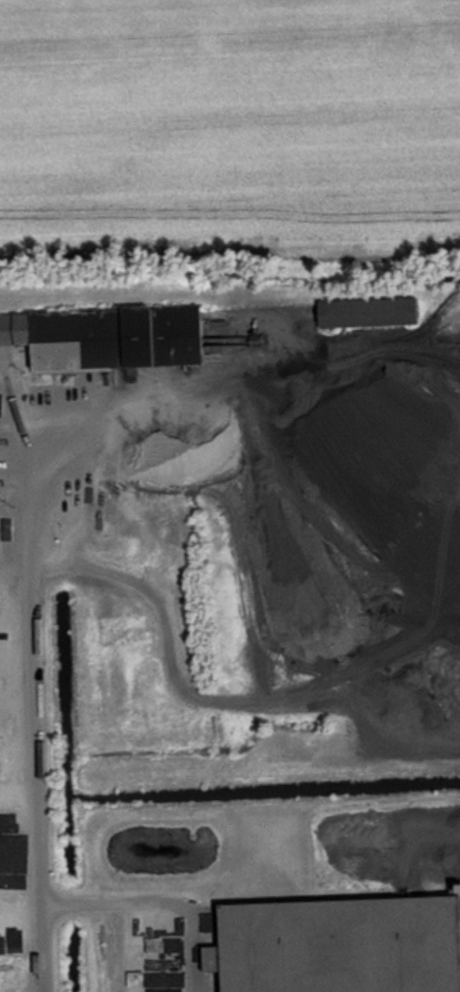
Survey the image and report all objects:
building: (361, 314)
building: (79, 341)
road: (27, 691)
road: (151, 899)
building: (328, 945)

